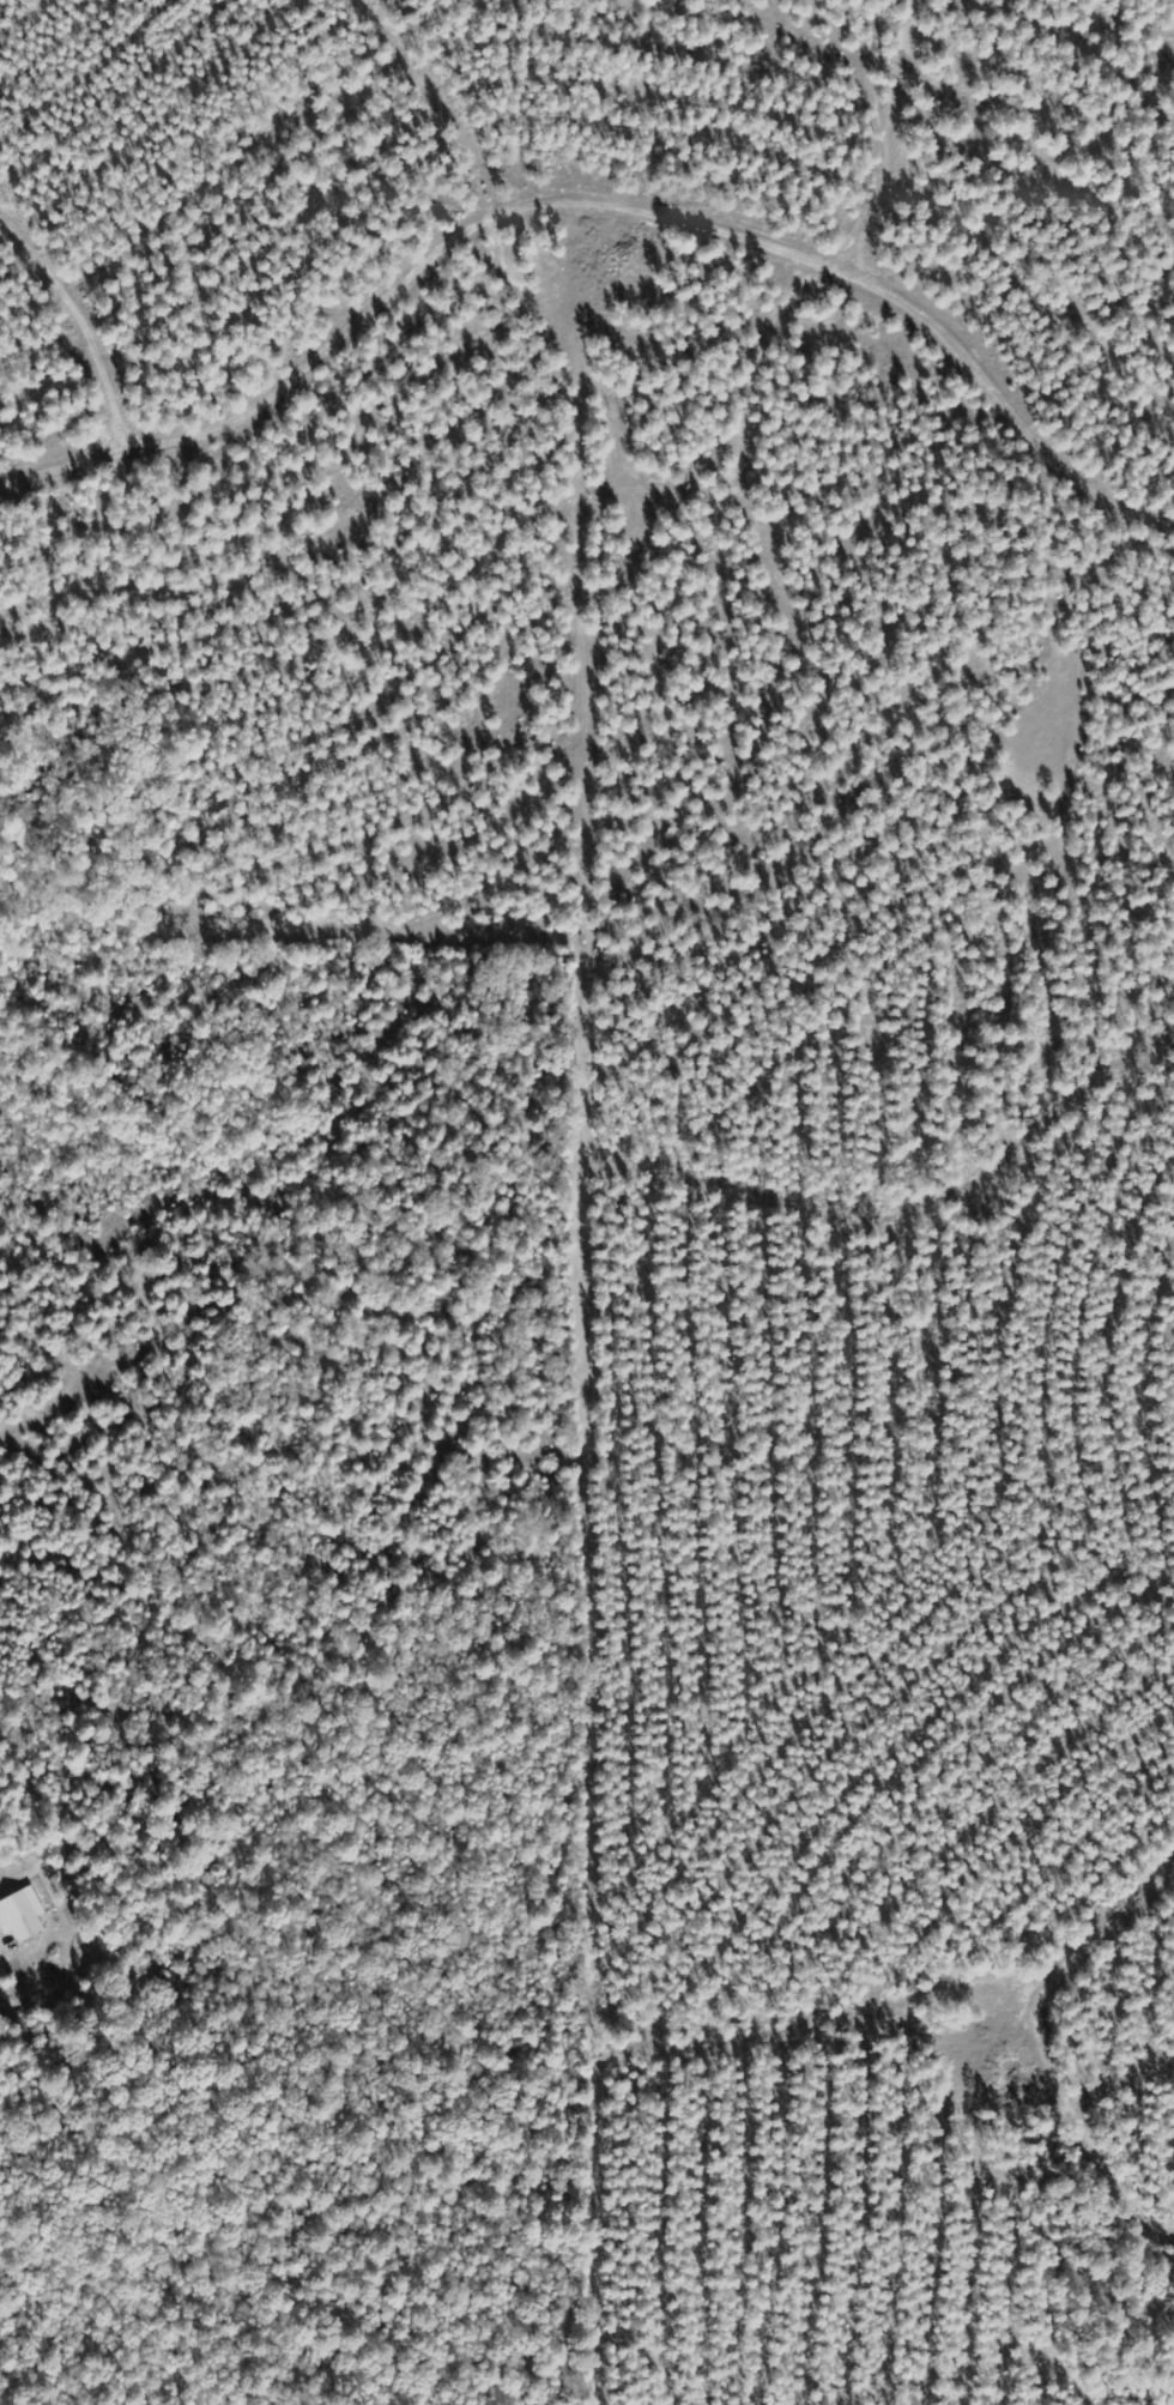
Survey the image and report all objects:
building: (24, 1914)

